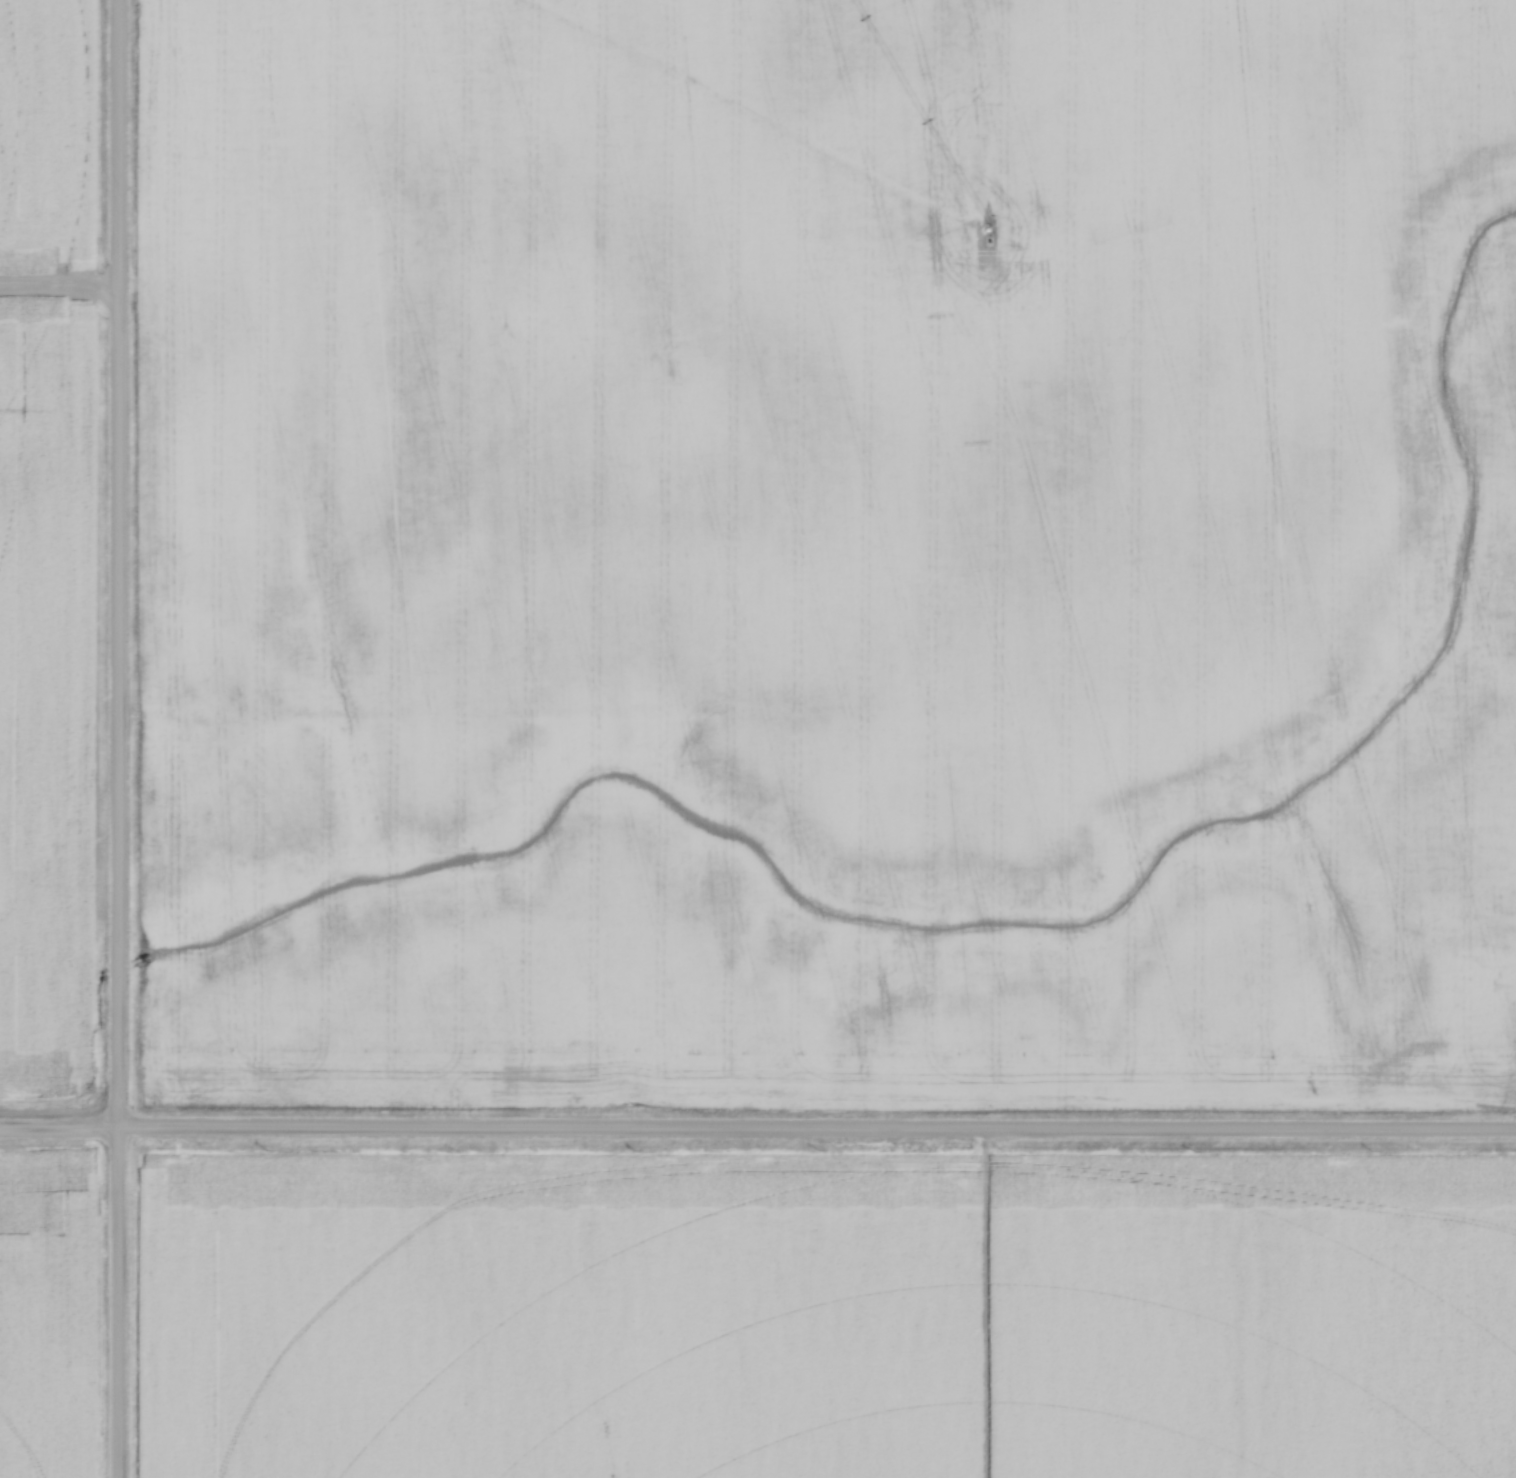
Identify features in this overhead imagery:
road: (60, 283)
road: (121, 739)
road: (818, 1125)
road: (60, 1126)

